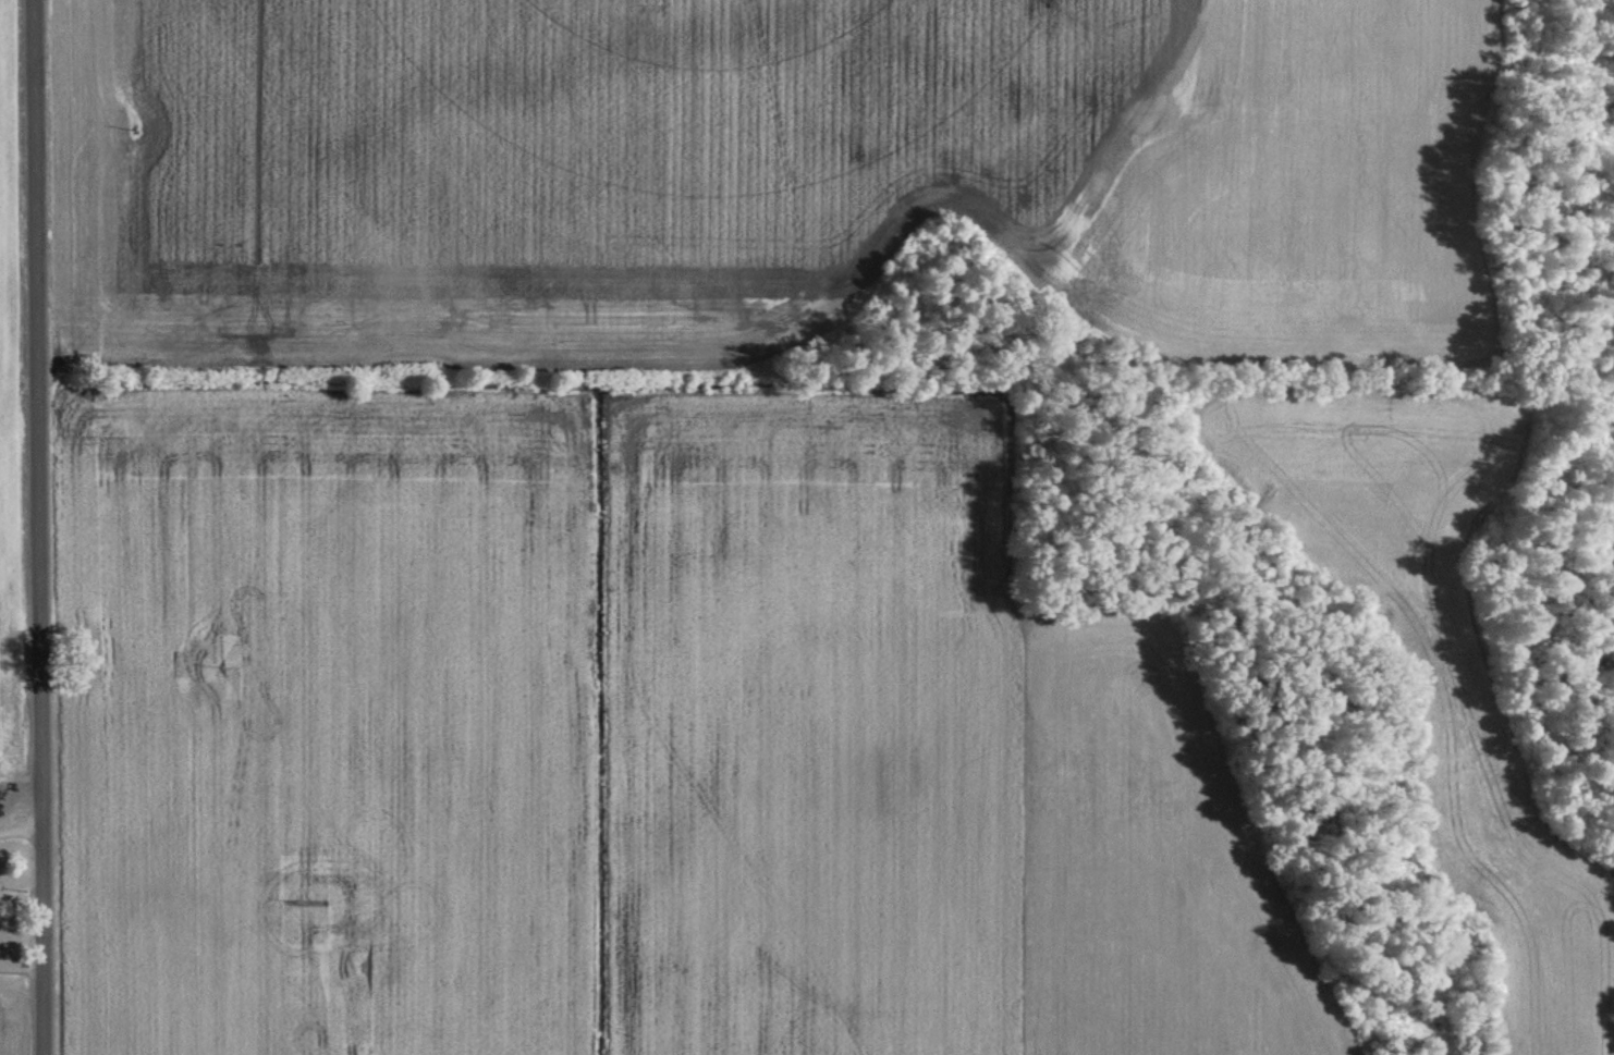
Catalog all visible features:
road: (40, 527)

